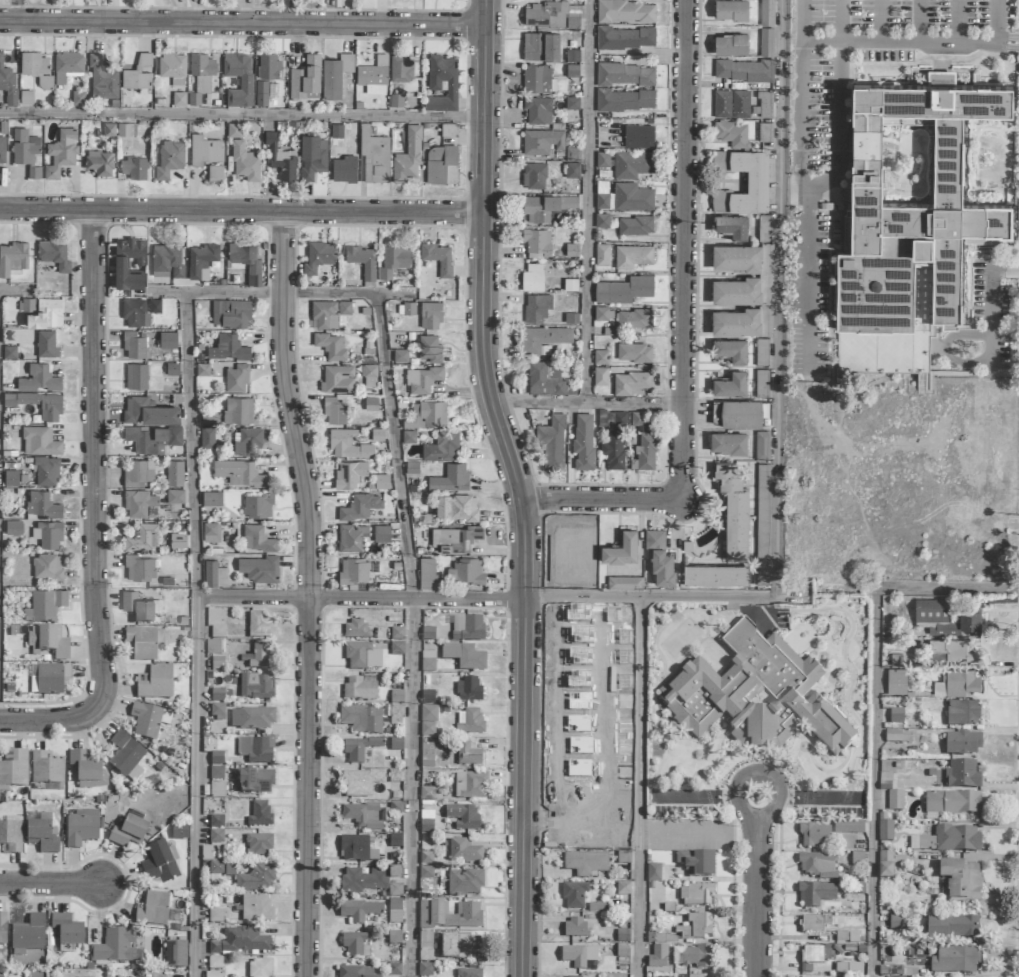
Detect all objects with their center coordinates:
building: (731, 10)
building: (626, 11)
building: (767, 12)
building: (553, 15)
road: (806, 20)
road: (996, 20)
road: (244, 25)
building: (625, 38)
building: (766, 42)
building: (731, 45)
building: (541, 47)
parking lot: (883, 53)
building: (33, 63)
building: (67, 65)
building: (172, 65)
building: (268, 66)
building: (401, 68)
building: (743, 70)
building: (138, 73)
building: (201, 73)
building: (625, 74)
building: (335, 76)
building: (373, 76)
building: (102, 79)
building: (305, 79)
building: (44, 81)
building: (7, 82)
building: (245, 82)
building: (442, 83)
building: (265, 92)
road: (805, 98)
building: (179, 99)
building: (396, 100)
building: (625, 100)
building: (731, 104)
building: (765, 104)
building: (538, 110)
road: (244, 117)
building: (108, 129)
building: (449, 129)
building: (123, 130)
building: (233, 130)
building: (336, 131)
building: (765, 132)
building: (732, 134)
building: (638, 136)
building: (542, 141)
building: (2, 149)
building: (205, 150)
building: (26, 151)
building: (61, 153)
building: (573, 154)
building: (312, 157)
building: (374, 157)
building: (407, 157)
building: (281, 158)
building: (170, 159)
building: (602, 159)
building: (245, 162)
building: (100, 163)
building: (441, 164)
building: (632, 164)
building: (343, 167)
building: (133, 168)
building: (572, 170)
building: (215, 172)
building: (534, 176)
building: (757, 181)
building: (626, 198)
road: (591, 203)
building: (545, 206)
road: (243, 211)
building: (602, 220)
building: (635, 225)
building: (731, 226)
building: (764, 228)
building: (537, 241)
road: (686, 248)
building: (905, 249)
building: (54, 254)
building: (602, 255)
building: (319, 256)
building: (632, 256)
building: (438, 257)
building: (12, 258)
building: (737, 258)
building: (202, 260)
building: (245, 260)
building: (362, 260)
building: (121, 261)
building: (167, 261)
building: (394, 261)
building: (532, 278)
road: (15, 290)
building: (624, 290)
building: (736, 291)
road: (992, 291)
road: (284, 295)
road: (780, 298)
building: (154, 306)
building: (536, 307)
building: (409, 308)
building: (135, 313)
building: (329, 313)
building: (601, 313)
building: (46, 314)
building: (430, 315)
building: (634, 319)
building: (736, 322)
building: (544, 339)
building: (168, 340)
building: (46, 344)
building: (134, 345)
building: (331, 345)
building: (228, 348)
building: (430, 349)
building: (731, 350)
building: (634, 352)
building: (761, 352)
building: (400, 356)
building: (600, 357)
road: (948, 358)
building: (172, 369)
building: (203, 370)
building: (369, 375)
building: (136, 376)
building: (600, 376)
building: (236, 378)
building: (39, 379)
building: (338, 379)
building: (548, 379)
building: (421, 380)
building: (631, 383)
building: (761, 383)
building: (730, 385)
building: (38, 404)
road: (590, 407)
building: (238, 410)
building: (148, 411)
building: (334, 411)
building: (737, 413)
building: (426, 415)
building: (208, 418)
building: (612, 418)
building: (207, 437)
building: (409, 437)
building: (152, 439)
building: (39, 441)
building: (583, 441)
building: (248, 442)
building: (552, 442)
building: (728, 443)
building: (348, 445)
building: (762, 445)
building: (441, 447)
building: (613, 449)
building: (646, 452)
road: (93, 457)
building: (411, 467)
building: (46, 471)
building: (137, 473)
building: (174, 473)
building: (239, 473)
building: (349, 474)
building: (11, 477)
building: (450, 479)
road: (519, 479)
building: (175, 496)
building: (212, 498)
road: (603, 501)
building: (139, 503)
building: (42, 505)
building: (257, 506)
building: (360, 506)
building: (457, 507)
building: (734, 511)
building: (13, 527)
building: (211, 532)
building: (382, 533)
building: (48, 534)
building: (143, 536)
building: (351, 538)
building: (257, 539)
building: (454, 539)
building: (178, 540)
building: (621, 549)
building: (659, 557)
building: (47, 567)
building: (139, 568)
building: (259, 569)
building: (354, 570)
building: (468, 571)
building: (214, 574)
building: (428, 574)
building: (715, 575)
building: (624, 582)
road: (310, 585)
road: (947, 586)
building: (45, 605)
road: (503, 605)
building: (137, 608)
building: (946, 618)
building: (260, 626)
building: (467, 628)
building: (354, 629)
building: (396, 633)
building: (427, 634)
road: (198, 635)
road: (415, 635)
building: (47, 642)
building: (141, 643)
building: (212, 647)
building: (396, 648)
building: (954, 649)
building: (260, 657)
building: (361, 657)
building: (464, 657)
building: (426, 662)
building: (49, 679)
building: (896, 681)
building: (154, 682)
building: (956, 683)
building: (255, 686)
building: (358, 689)
building: (467, 690)
building: (755, 695)
building: (396, 697)
building: (427, 697)
building: (217, 712)
building: (961, 712)
building: (396, 714)
building: (428, 714)
building: (895, 716)
building: (251, 718)
building: (360, 719)
road: (50, 720)
building: (148, 720)
building: (470, 722)
building: (427, 729)
building: (897, 737)
building: (961, 744)
building: (394, 748)
building: (255, 749)
building: (358, 749)
building: (426, 755)
building: (467, 755)
building: (125, 757)
building: (216, 758)
building: (13, 769)
building: (45, 769)
building: (86, 770)
building: (961, 775)
building: (255, 781)
road: (874, 781)
building: (358, 783)
building: (469, 785)
road: (639, 787)
building: (216, 790)
building: (426, 794)
road: (752, 795)
building: (894, 800)
building: (952, 803)
building: (259, 815)
building: (363, 816)
building: (462, 817)
building: (215, 821)
building: (426, 821)
building: (848, 826)
building: (81, 828)
building: (885, 831)
building: (178, 832)
building: (40, 833)
building: (128, 833)
building: (814, 835)
building: (215, 836)
building: (10, 837)
building: (947, 840)
building: (258, 844)
building: (353, 848)
building: (463, 851)
building: (425, 858)
building: (857, 859)
building: (696, 863)
building: (158, 864)
building: (816, 865)
building: (884, 865)
building: (215, 868)
building: (425, 872)
building: (652, 873)
building: (255, 879)
building: (362, 880)
building: (960, 880)
building: (464, 882)
road: (48, 884)
road: (756, 885)
building: (815, 894)
building: (573, 895)
building: (696, 895)
building: (152, 909)
building: (255, 909)
building: (358, 910)
building: (394, 910)
building: (448, 915)
building: (895, 922)
building: (814, 923)
building: (697, 926)
building: (951, 927)
building: (2, 928)
building: (574, 928)
building: (27, 935)
building: (394, 937)
building: (241, 942)
building: (354, 945)
building: (114, 946)
building: (425, 947)
building: (459, 947)
building: (174, 954)
building: (811, 955)
building: (578, 956)
building: (693, 956)
building: (657, 957)
building: (954, 960)
building: (214, 962)
building: (258, 968)
building: (848, 968)
road: (306, 969)
building: (424, 969)
road: (523, 970)
building: (354, 972)
building: (468, 973)
building: (213, 974)
building: (136, 976)
building: (692, 976)
road: (756, 976)

